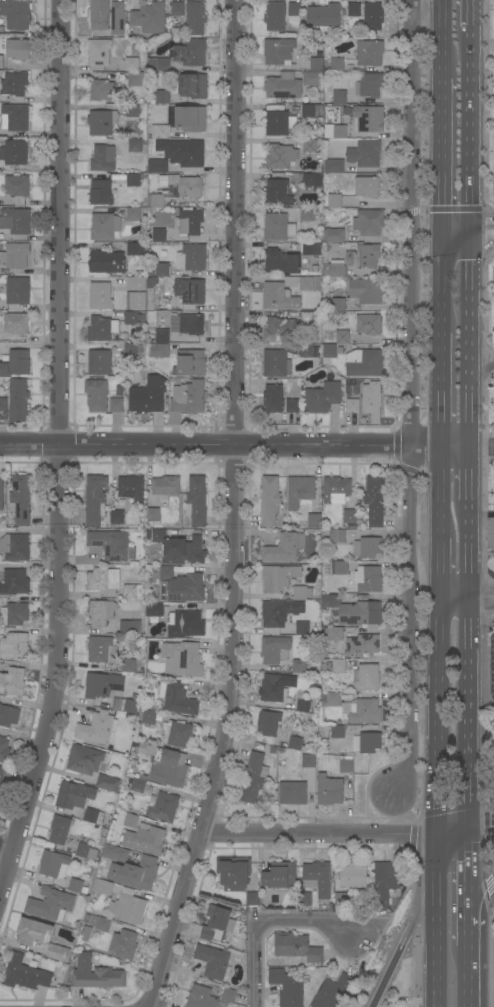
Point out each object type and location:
building: (178, 9)
building: (354, 10)
building: (294, 12)
road: (473, 13)
building: (16, 14)
building: (99, 14)
building: (275, 16)
building: (373, 16)
building: (324, 17)
building: (150, 18)
building: (195, 18)
building: (117, 19)
road: (444, 39)
building: (18, 49)
building: (278, 51)
building: (99, 52)
building: (190, 53)
building: (369, 53)
building: (2, 63)
building: (131, 64)
building: (317, 64)
building: (163, 65)
building: (337, 65)
building: (134, 79)
building: (313, 79)
building: (14, 84)
building: (369, 85)
building: (193, 86)
building: (283, 86)
building: (102, 90)
building: (162, 97)
building: (339, 97)
building: (132, 110)
building: (308, 111)
building: (15, 117)
building: (191, 119)
building: (369, 119)
building: (102, 123)
building: (279, 123)
road: (473, 123)
building: (335, 131)
building: (160, 132)
building: (136, 145)
building: (309, 145)
road: (443, 150)
building: (14, 152)
building: (182, 152)
building: (365, 154)
building: (281, 156)
building: (103, 158)
building: (158, 166)
building: (334, 166)
building: (133, 180)
building: (312, 180)
building: (182, 185)
building: (367, 187)
building: (17, 188)
building: (101, 192)
building: (278, 193)
building: (156, 200)
building: (334, 201)
building: (133, 214)
building: (306, 215)
building: (16, 221)
road: (458, 221)
road: (483, 221)
building: (189, 222)
building: (369, 222)
building: (105, 226)
building: (278, 228)
road: (443, 230)
road: (473, 231)
building: (158, 235)
building: (334, 235)
road: (458, 240)
road: (483, 241)
building: (136, 249)
building: (312, 249)
building: (15, 256)
building: (191, 258)
building: (353, 260)
building: (107, 262)
building: (281, 262)
building: (162, 270)
building: (136, 283)
building: (306, 283)
road: (443, 286)
building: (18, 291)
building: (190, 291)
building: (366, 291)
building: (100, 296)
building: (278, 297)
building: (136, 301)
building: (160, 304)
building: (338, 305)
building: (134, 318)
building: (307, 318)
building: (16, 323)
building: (175, 323)
building: (368, 324)
building: (192, 325)
building: (102, 329)
building: (279, 329)
building: (162, 336)
building: (343, 338)
building: (493, 338)
road: (472, 343)
building: (132, 350)
building: (159, 351)
building: (329, 351)
building: (285, 359)
road: (483, 360)
building: (100, 362)
building: (16, 363)
building: (190, 363)
building: (364, 363)
road: (443, 390)
building: (120, 391)
parking lot: (493, 391)
building: (96, 395)
building: (149, 396)
building: (322, 397)
road: (412, 397)
building: (188, 398)
building: (273, 399)
building: (18, 400)
building: (366, 401)
building: (3, 405)
building: (116, 405)
building: (292, 406)
road: (235, 446)
road: (483, 446)
road: (60, 452)
road: (472, 480)
building: (166, 486)
building: (131, 487)
building: (336, 490)
building: (300, 491)
building: (1, 493)
road: (442, 493)
building: (20, 500)
building: (95, 500)
building: (196, 501)
building: (270, 501)
building: (374, 501)
road: (233, 508)
road: (483, 513)
building: (152, 515)
building: (116, 518)
building: (350, 518)
building: (314, 520)
building: (156, 535)
building: (490, 535)
building: (338, 536)
building: (352, 536)
building: (110, 544)
building: (15, 547)
building: (367, 547)
building: (284, 548)
building: (184, 551)
road: (471, 556)
building: (341, 568)
road: (442, 569)
building: (166, 572)
building: (278, 577)
building: (103, 579)
building: (368, 579)
building: (16, 582)
building: (183, 588)
building: (132, 591)
building: (302, 593)
road: (468, 599)
building: (155, 609)
building: (353, 611)
building: (279, 612)
building: (101, 613)
building: (15, 614)
building: (134, 614)
building: (190, 624)
building: (130, 628)
building: (302, 628)
building: (333, 634)
building: (14, 646)
building: (362, 646)
building: (273, 649)
building: (102, 650)
building: (182, 659)
building: (338, 665)
building: (127, 667)
building: (299, 667)
building: (324, 667)
building: (366, 677)
building: (12, 681)
building: (102, 685)
building: (276, 687)
building: (177, 699)
building: (330, 699)
building: (303, 706)
building: (130, 707)
building: (362, 711)
building: (8, 715)
road: (468, 715)
building: (148, 717)
road: (438, 717)
building: (268, 723)
building: (95, 728)
building: (337, 732)
building: (280, 734)
building: (180, 735)
building: (285, 742)
building: (274, 743)
building: (295, 743)
building: (367, 743)
building: (143, 749)
building: (4, 750)
building: (273, 751)
building: (87, 760)
building: (308, 761)
building: (346, 766)
building: (169, 768)
building: (2, 774)
building: (254, 777)
building: (108, 783)
building: (138, 784)
building: (329, 790)
building: (292, 793)
building: (74, 795)
building: (164, 807)
building: (93, 816)
building: (131, 821)
building: (59, 830)
road: (480, 831)
building: (104, 832)
traffic signals: (467, 832)
road: (451, 833)
road: (318, 835)
traffic signals: (436, 835)
building: (145, 841)
building: (102, 842)
road: (6, 849)
building: (86, 851)
building: (115, 853)
road: (435, 859)
building: (54, 864)
road: (468, 872)
building: (135, 873)
building: (234, 873)
building: (353, 875)
building: (279, 876)
building: (318, 877)
building: (385, 882)
road: (491, 882)
building: (77, 886)
building: (102, 887)
building: (252, 899)
building: (304, 899)
building: (341, 899)
road: (479, 899)
building: (50, 904)
road: (423, 904)
building: (128, 907)
building: (100, 923)
building: (217, 924)
road: (264, 925)
road: (469, 929)
building: (33, 932)
building: (124, 944)
road: (437, 946)
building: (297, 948)
building: (58, 953)
building: (212, 961)
road: (391, 965)
building: (24, 974)
building: (96, 975)
road: (469, 976)
building: (287, 987)
building: (334, 992)
building: (229, 996)
building: (201, 997)

